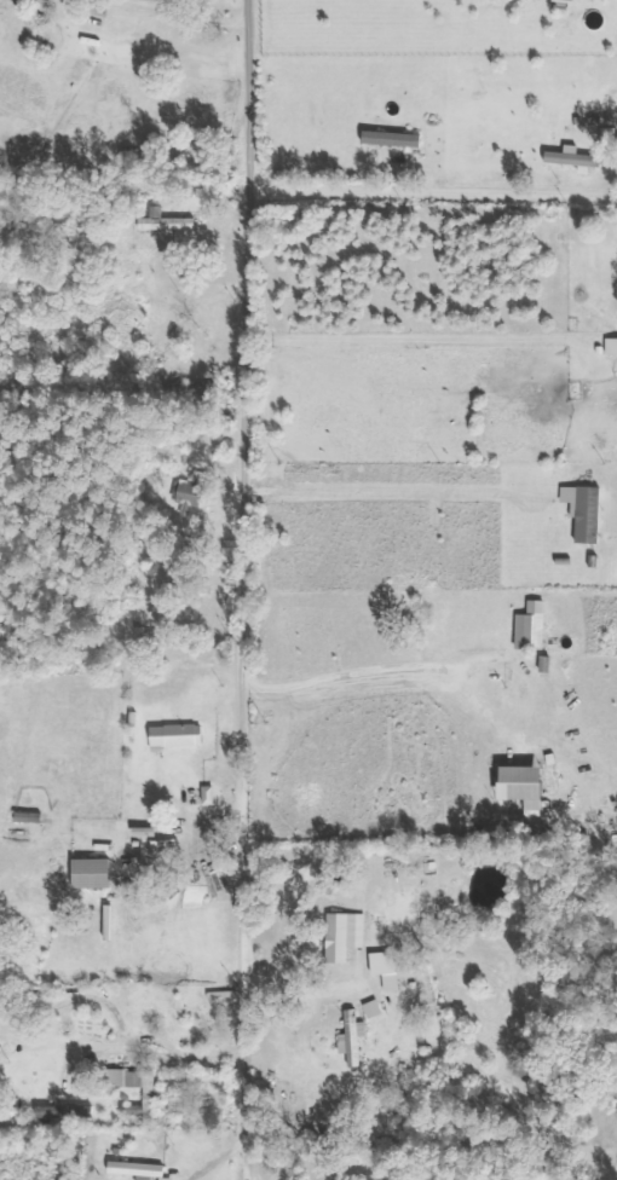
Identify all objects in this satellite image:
building: (576, 0)
building: (394, 139)
building: (576, 158)
road: (432, 191)
building: (612, 346)
building: (587, 511)
road: (240, 590)
building: (534, 627)
building: (179, 736)
building: (523, 786)
building: (93, 874)
building: (346, 936)
building: (394, 983)
building: (354, 1039)
building: (142, 1170)

